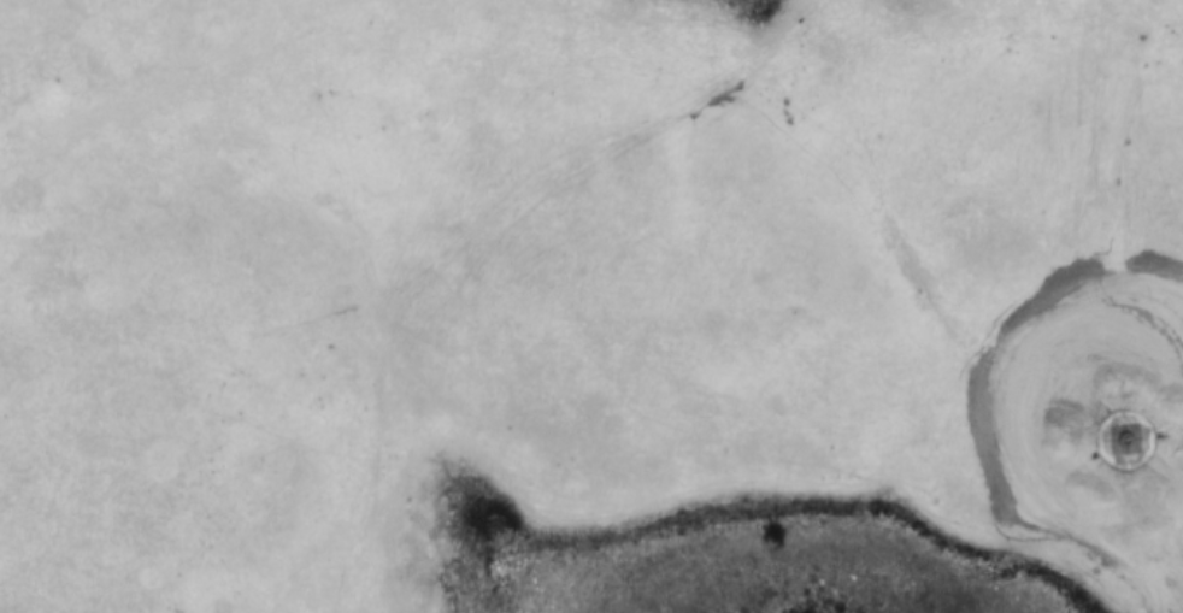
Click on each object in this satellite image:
wind turbine: (1124, 448)

